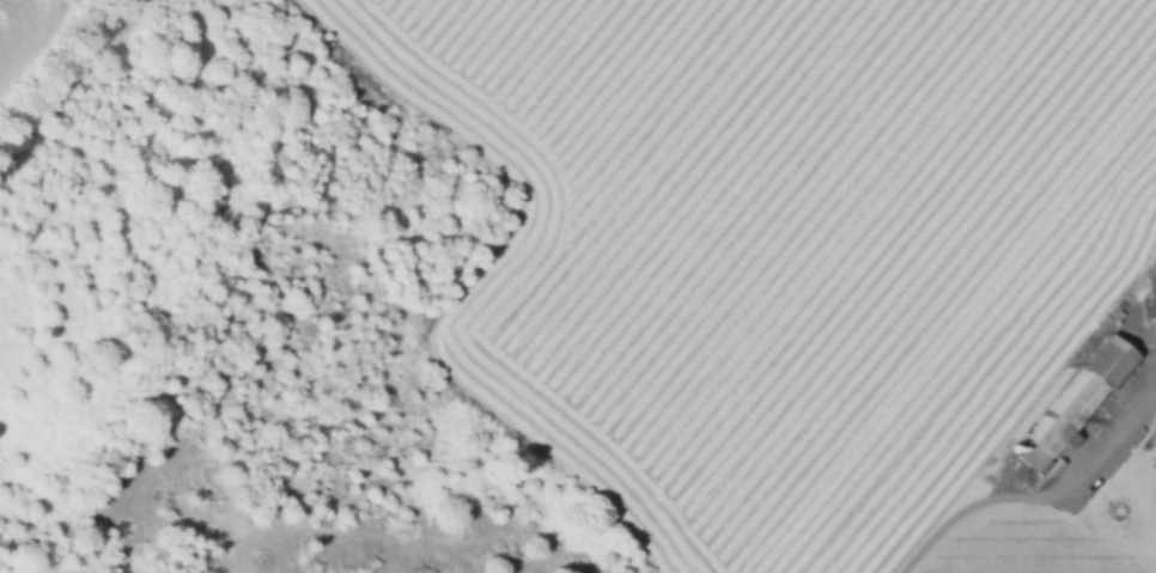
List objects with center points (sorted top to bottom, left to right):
crop: (30, 36)
crop: (785, 245)
building: (1152, 301)
building: (1073, 407)
building: (1136, 467)
road: (1041, 498)
crop: (1032, 547)

